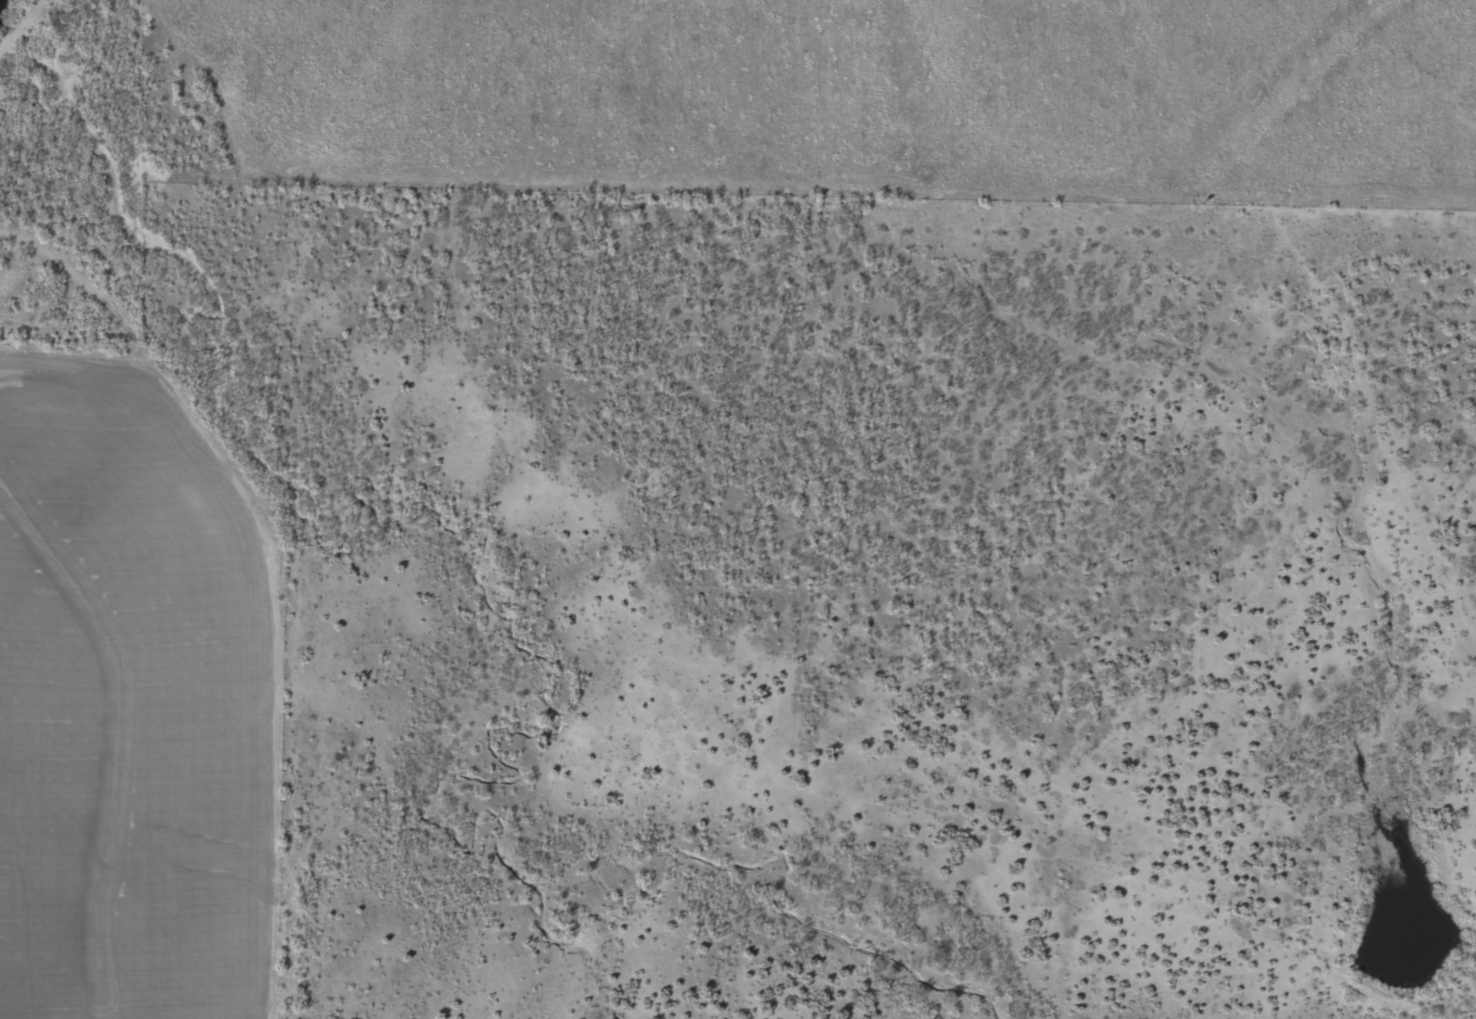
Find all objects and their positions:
road: (1357, 422)

